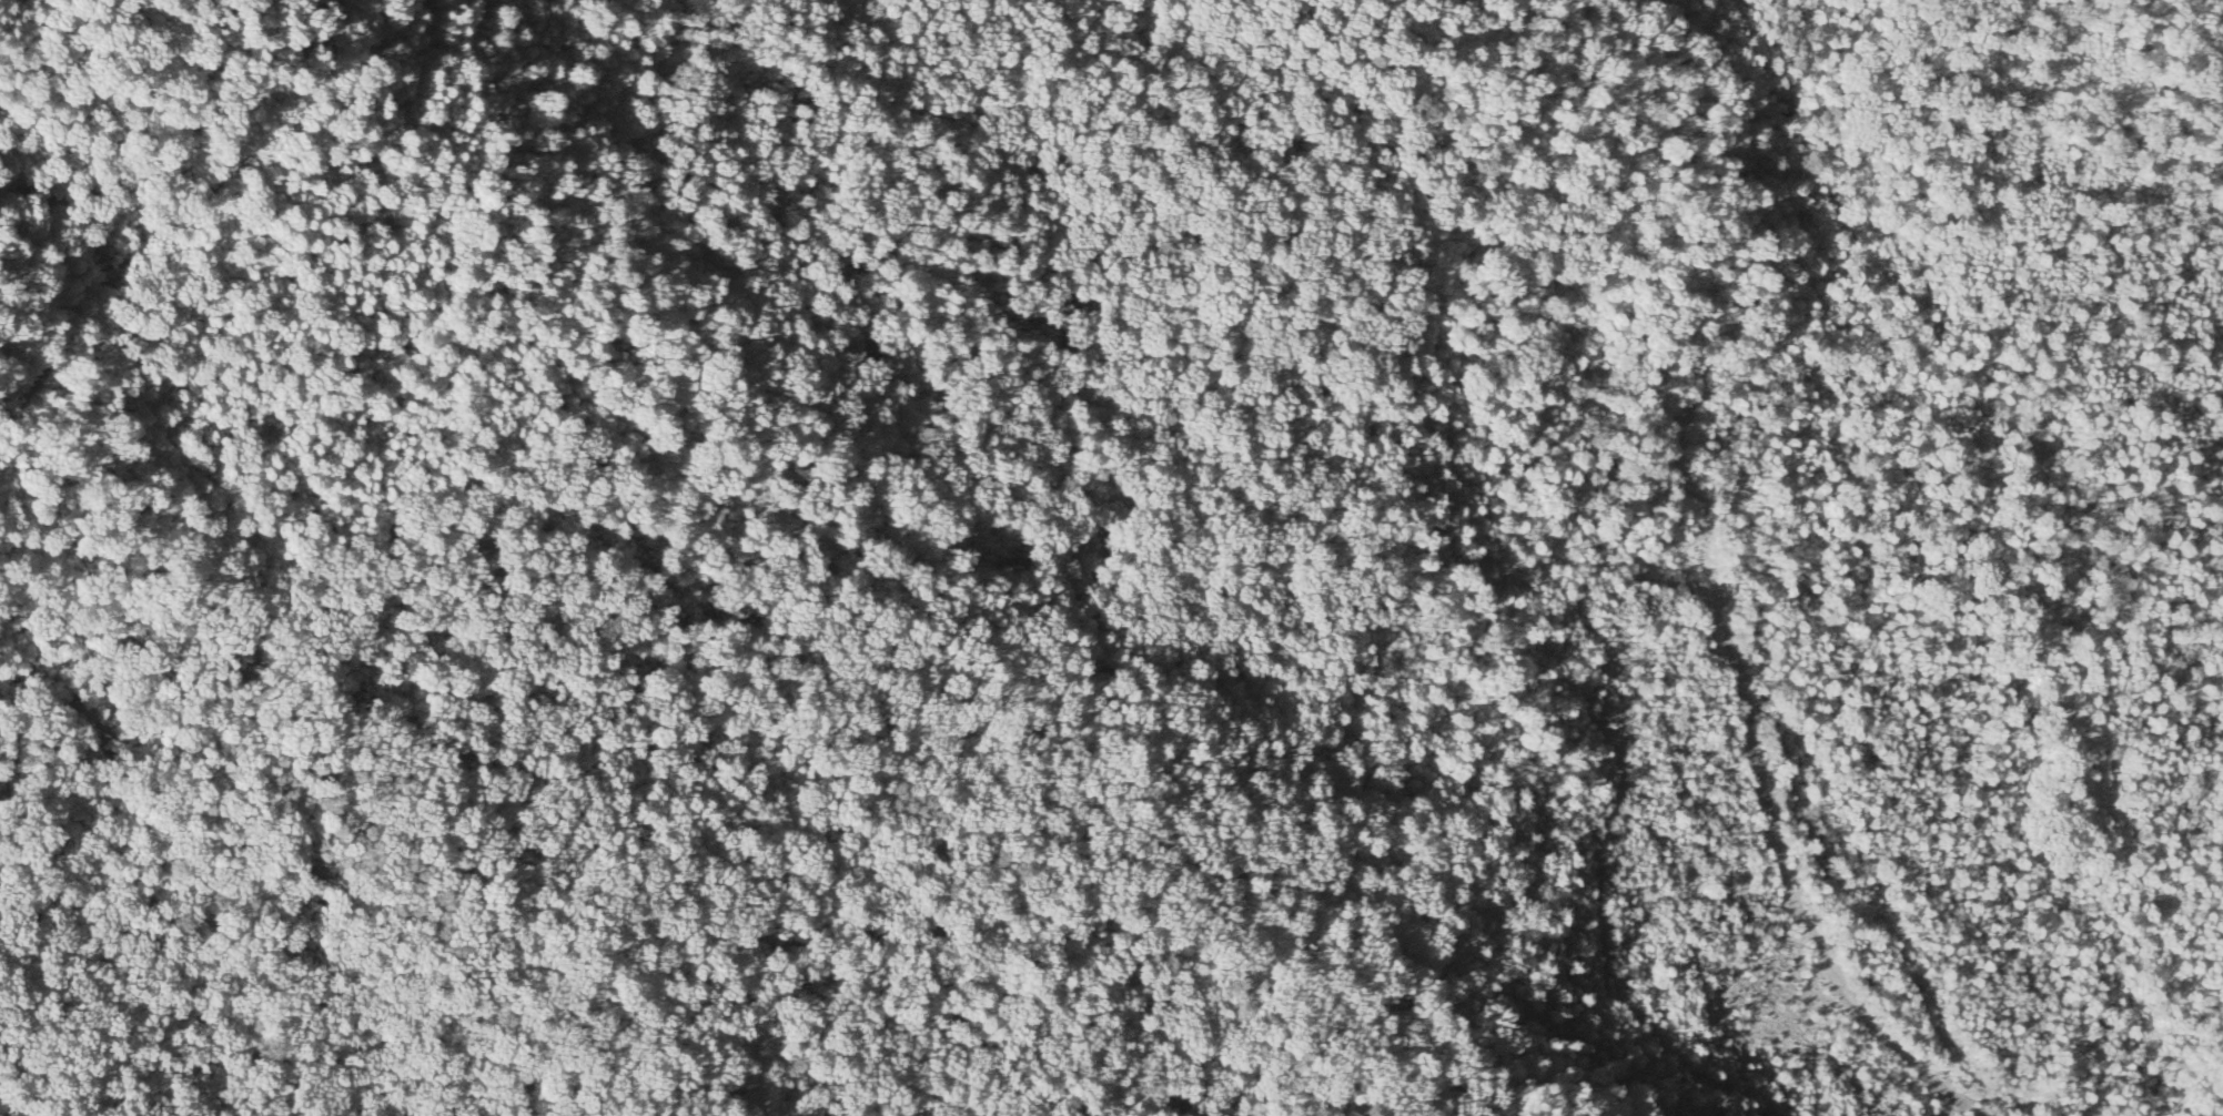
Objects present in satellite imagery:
road: (254, 151)
road: (230, 227)
road: (1775, 806)

